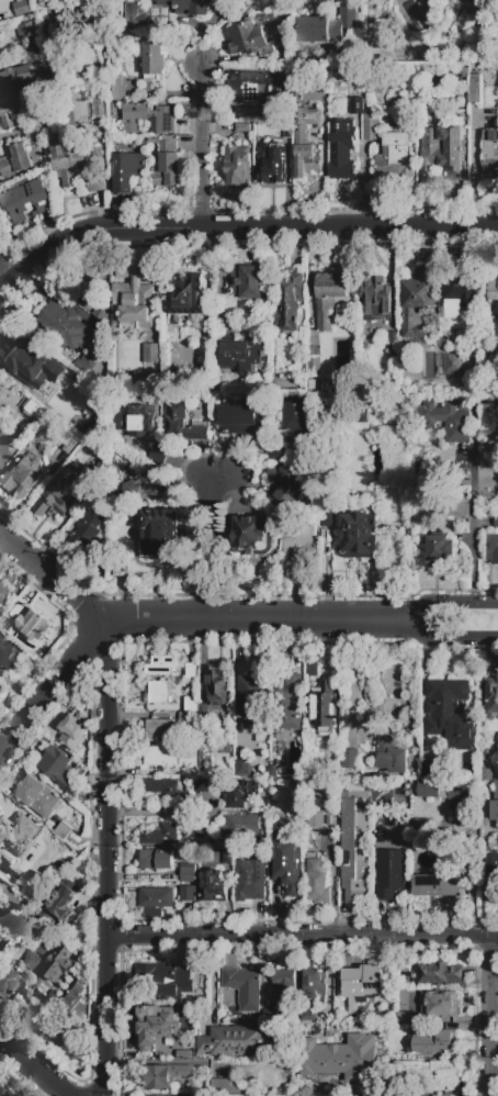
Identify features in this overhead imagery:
building: (188, 7)
building: (22, 8)
building: (64, 13)
building: (88, 14)
building: (135, 14)
building: (283, 19)
building: (328, 26)
building: (27, 30)
building: (248, 38)
building: (154, 60)
building: (456, 79)
building: (8, 83)
building: (254, 86)
building: (118, 88)
building: (473, 89)
building: (36, 90)
building: (286, 90)
building: (355, 105)
building: (100, 107)
building: (11, 114)
building: (134, 116)
building: (165, 120)
building: (370, 125)
building: (242, 127)
building: (286, 130)
building: (38, 131)
building: (305, 144)
road: (203, 146)
building: (342, 149)
building: (490, 154)
building: (440, 155)
building: (98, 156)
building: (395, 156)
building: (68, 160)
building: (166, 161)
building: (14, 163)
building: (271, 163)
building: (238, 166)
building: (127, 170)
building: (95, 182)
building: (26, 198)
road: (351, 227)
road: (91, 233)
building: (245, 281)
road: (1, 288)
building: (93, 289)
building: (493, 291)
building: (188, 295)
building: (328, 298)
building: (133, 299)
building: (375, 300)
building: (461, 300)
building: (291, 303)
building: (418, 303)
building: (100, 313)
building: (63, 325)
building: (393, 347)
building: (151, 355)
building: (206, 355)
building: (241, 357)
building: (171, 359)
building: (30, 364)
building: (453, 364)
building: (315, 367)
building: (91, 368)
building: (490, 417)
building: (33, 418)
building: (238, 420)
building: (445, 421)
building: (139, 422)
building: (182, 424)
building: (299, 424)
building: (89, 433)
building: (69, 446)
building: (160, 455)
building: (278, 455)
building: (419, 467)
road: (219, 476)
building: (23, 478)
building: (98, 480)
building: (285, 484)
building: (149, 488)
building: (58, 495)
building: (339, 496)
building: (450, 511)
building: (326, 518)
building: (496, 522)
building: (160, 532)
building: (360, 532)
building: (88, 533)
road: (473, 534)
building: (252, 535)
road: (201, 548)
road: (215, 548)
building: (298, 548)
building: (491, 548)
building: (441, 549)
road: (52, 580)
building: (3, 592)
road: (452, 605)
road: (171, 620)
building: (25, 622)
road: (451, 640)
building: (9, 656)
building: (160, 666)
building: (312, 670)
building: (191, 671)
building: (216, 685)
building: (160, 692)
building: (491, 698)
building: (252, 700)
building: (291, 701)
building: (191, 704)
building: (324, 706)
building: (203, 711)
building: (451, 714)
building: (185, 716)
building: (160, 729)
building: (73, 731)
building: (225, 750)
building: (392, 756)
building: (171, 758)
building: (351, 761)
building: (429, 768)
building: (241, 769)
building: (59, 770)
building: (201, 785)
building: (161, 789)
building: (239, 793)
building: (37, 797)
building: (449, 797)
building: (494, 803)
road: (146, 810)
building: (315, 821)
building: (421, 825)
building: (240, 827)
building: (64, 830)
building: (41, 832)
building: (160, 835)
building: (9, 838)
building: (202, 840)
building: (354, 850)
building: (227, 857)
road: (107, 859)
building: (157, 860)
building: (286, 865)
building: (188, 874)
building: (391, 875)
building: (493, 876)
building: (249, 881)
building: (316, 881)
building: (213, 885)
building: (438, 885)
building: (186, 894)
building: (157, 897)
building: (63, 899)
building: (0, 928)
road: (303, 939)
building: (43, 949)
building: (31, 960)
building: (58, 963)
road: (328, 973)
building: (438, 974)
building: (163, 977)
building: (7, 981)
building: (313, 982)
building: (364, 983)
building: (283, 984)
building: (244, 987)
building: (76, 997)
building: (439, 1005)
building: (271, 1017)
road: (490, 1017)
building: (406, 1018)
building: (309, 1019)
building: (43, 1025)
building: (155, 1025)
building: (305, 1039)
building: (161, 1042)
building: (234, 1042)
building: (437, 1043)
building: (335, 1062)
road: (27, 1072)
building: (267, 1073)
building: (437, 1075)
building: (160, 1077)
building: (304, 1082)
building: (225, 1087)
building: (2, 1094)

